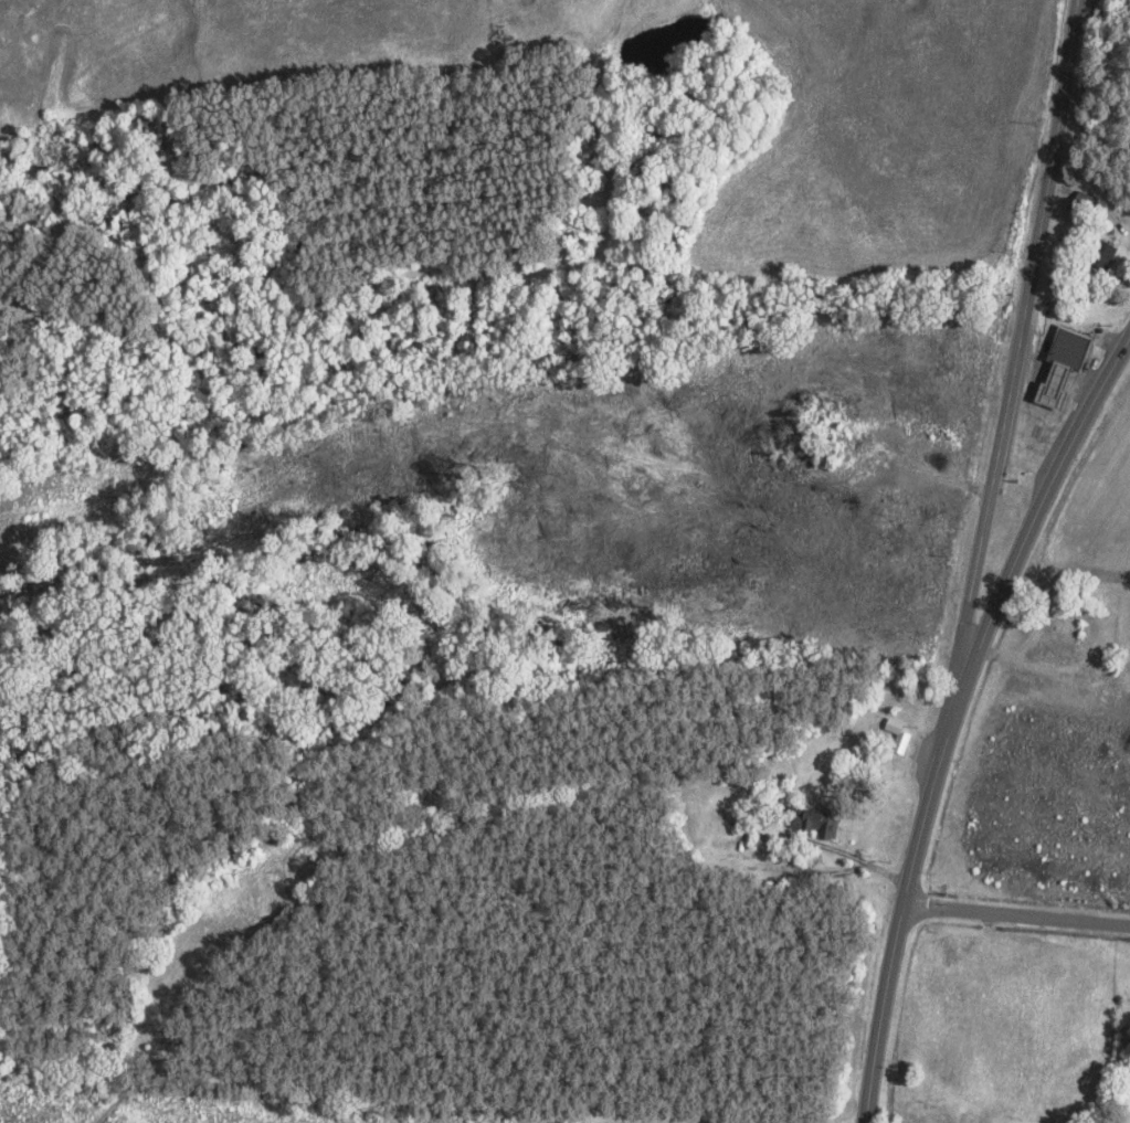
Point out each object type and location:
building: (1085, 201)
building: (1105, 255)
road: (1021, 360)
building: (1062, 364)
road: (1031, 528)
building: (899, 737)
building: (816, 823)
road: (1018, 914)
road: (904, 920)

